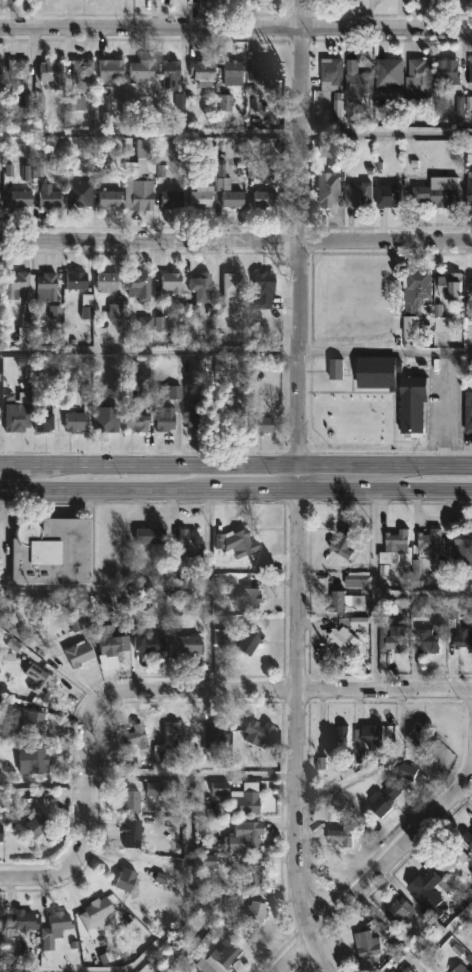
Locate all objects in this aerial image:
building: (429, 0)
road: (235, 26)
building: (1, 68)
building: (84, 68)
building: (20, 69)
building: (112, 69)
building: (264, 69)
building: (143, 70)
building: (444, 70)
building: (469, 71)
building: (204, 72)
building: (391, 72)
building: (53, 73)
building: (171, 74)
building: (334, 74)
building: (420, 76)
building: (230, 83)
building: (357, 91)
road: (149, 134)
road: (385, 134)
building: (327, 147)
building: (141, 176)
building: (229, 190)
building: (329, 190)
building: (467, 190)
building: (434, 192)
building: (359, 194)
building: (0, 195)
building: (51, 196)
building: (204, 196)
building: (387, 196)
building: (83, 197)
building: (110, 198)
building: (23, 199)
building: (173, 199)
building: (266, 199)
road: (236, 241)
building: (78, 280)
building: (108, 282)
building: (173, 282)
building: (49, 284)
building: (451, 284)
building: (469, 285)
building: (140, 286)
building: (202, 286)
building: (265, 289)
building: (418, 292)
building: (231, 293)
building: (28, 308)
building: (88, 308)
building: (116, 313)
road: (148, 346)
road: (383, 351)
building: (336, 371)
building: (382, 373)
building: (418, 405)
building: (469, 413)
building: (196, 414)
building: (137, 419)
building: (165, 419)
building: (17, 421)
building: (76, 421)
building: (233, 421)
building: (109, 422)
building: (44, 423)
building: (264, 424)
road: (236, 463)
road: (236, 489)
road: (293, 490)
building: (152, 535)
building: (392, 539)
building: (115, 540)
building: (238, 541)
building: (346, 543)
building: (426, 543)
building: (461, 546)
building: (188, 548)
building: (52, 550)
building: (357, 583)
road: (209, 589)
road: (375, 589)
building: (241, 593)
building: (339, 601)
building: (418, 609)
building: (112, 639)
building: (250, 639)
building: (423, 640)
building: (461, 640)
building: (338, 641)
building: (393, 641)
building: (153, 643)
building: (188, 644)
building: (80, 653)
building: (39, 678)
road: (164, 690)
building: (28, 721)
building: (215, 733)
building: (260, 733)
building: (136, 736)
building: (375, 736)
building: (337, 737)
building: (171, 739)
building: (424, 741)
building: (38, 759)
building: (408, 772)
road: (194, 775)
building: (251, 797)
building: (385, 798)
building: (132, 800)
building: (37, 822)
building: (2, 832)
building: (133, 833)
building: (343, 835)
building: (247, 836)
building: (468, 836)
building: (449, 859)
road: (376, 869)
building: (249, 874)
building: (127, 879)
building: (423, 888)
building: (242, 905)
building: (402, 909)
building: (100, 911)
building: (25, 920)
building: (1, 926)
building: (57, 929)
road: (447, 929)
road: (398, 930)
road: (160, 940)
building: (370, 944)
building: (225, 957)
building: (461, 969)
building: (409, 970)
building: (202, 971)
building: (394, 971)

